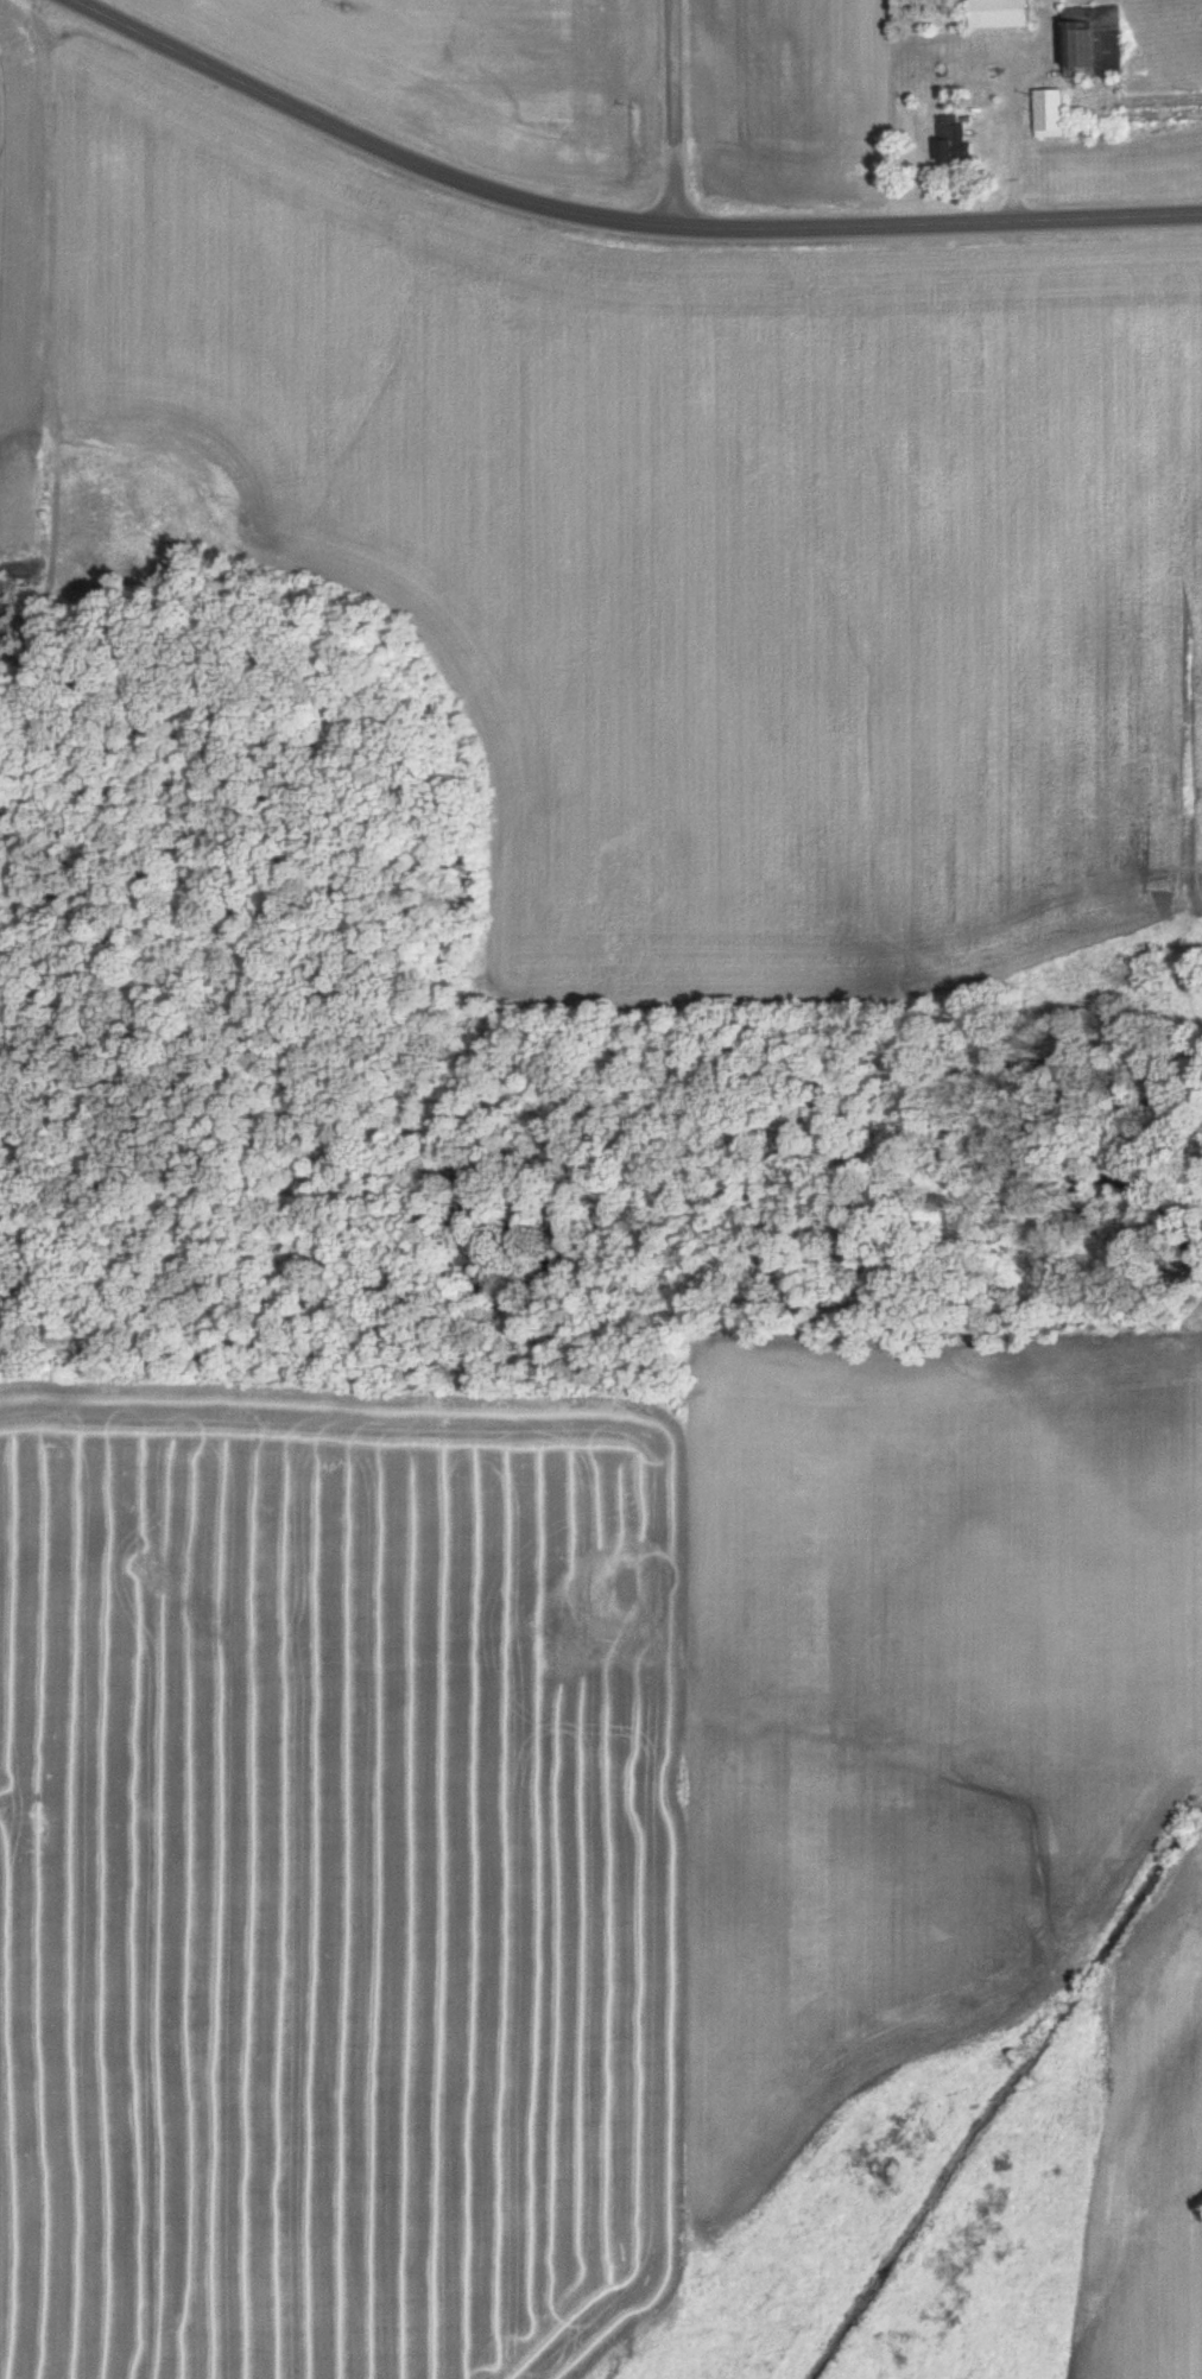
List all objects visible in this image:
building: (1002, 14)
building: (1094, 38)
crop: (476, 72)
crop: (793, 102)
building: (1050, 114)
road: (677, 116)
road: (333, 127)
building: (954, 139)
road: (940, 226)
road: (641, 232)
crop: (26, 280)
crop: (676, 546)
crop: (544, 1818)
crop: (1152, 2162)

